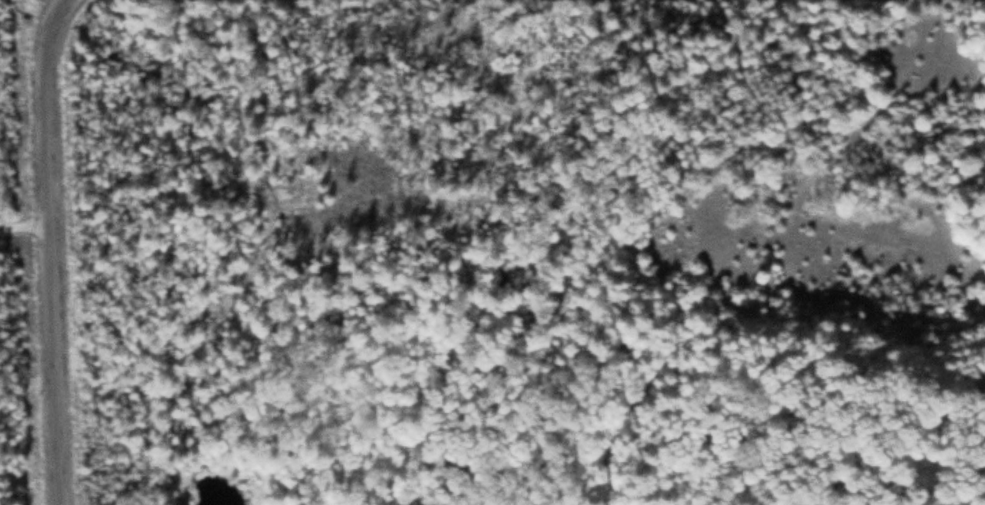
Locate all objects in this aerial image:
road: (58, 17)
road: (52, 269)

